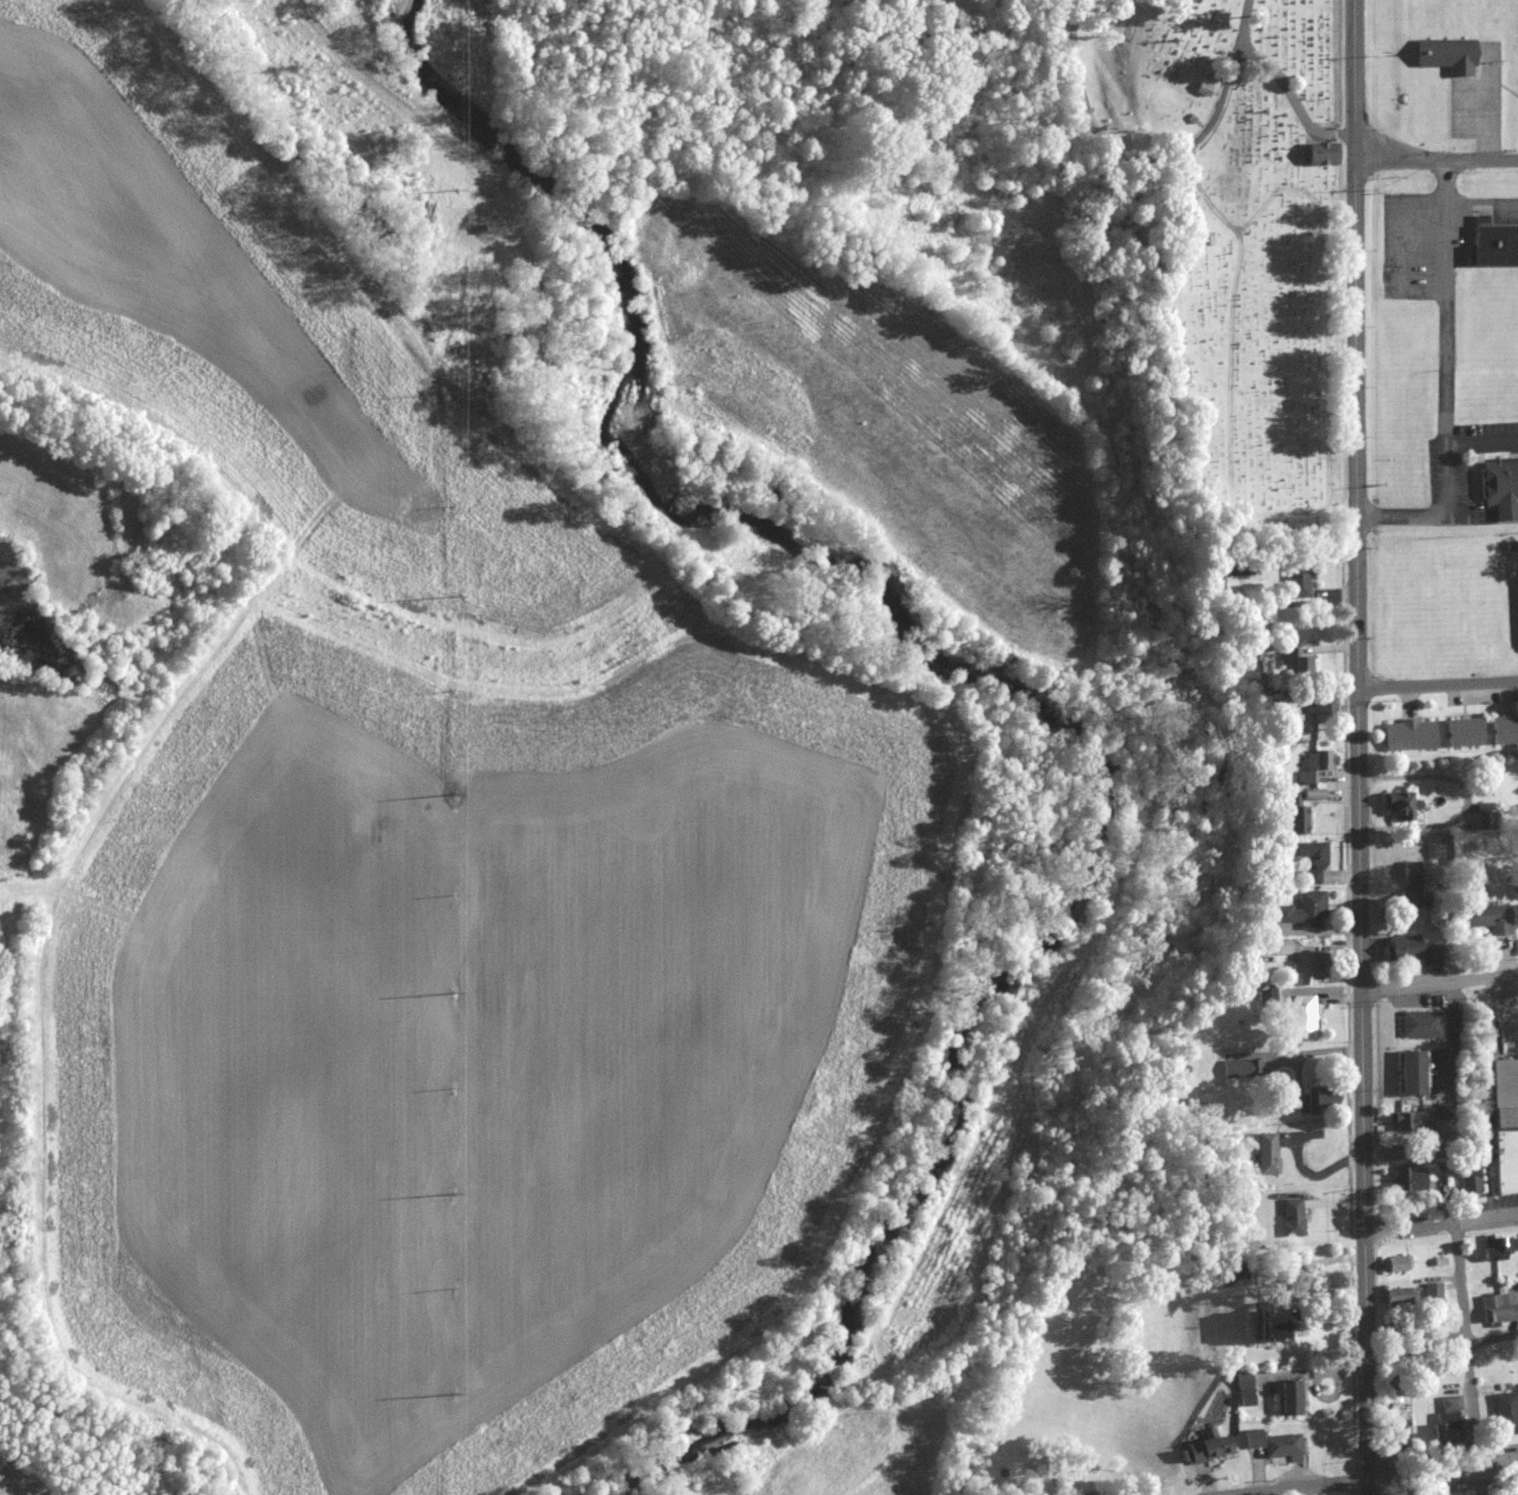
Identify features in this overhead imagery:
building: (1451, 54)
road: (348, 64)
road: (1354, 79)
road: (1080, 81)
road: (1294, 99)
road: (1216, 114)
building: (1318, 155)
road: (1436, 160)
road: (1483, 202)
road: (488, 215)
park: (1245, 236)
building: (1493, 244)
road: (540, 286)
road: (1449, 381)
road: (1484, 439)
building: (1500, 489)
road: (1293, 512)
building: (1297, 583)
road: (1438, 685)
building: (1319, 706)
building: (1504, 730)
building: (1464, 733)
building: (1409, 735)
building: (1314, 766)
building: (1398, 806)
building: (1300, 809)
building: (1485, 819)
road: (1358, 827)
building: (1308, 860)
building: (1413, 885)
building: (1303, 910)
building: (1485, 918)
building: (1277, 947)
building: (1410, 950)
building: (1303, 970)
road: (1438, 983)
building: (1301, 1018)
building: (1418, 1024)
building: (1241, 1068)
building: (1407, 1073)
building: (1318, 1099)
building: (1405, 1122)
building: (1503, 1126)
building: (1265, 1153)
building: (1411, 1180)
building: (1470, 1186)
building: (1291, 1218)
road: (1442, 1223)
building: (1496, 1248)
building: (1396, 1264)
building: (1233, 1272)
building: (1411, 1295)
building: (1497, 1309)
building: (1265, 1325)
road: (1441, 1341)
road: (1468, 1358)
building: (1243, 1387)
building: (1288, 1398)
building: (1451, 1404)
building: (1506, 1414)
building: (1392, 1428)
building: (1444, 1434)
building: (1251, 1439)
building: (1281, 1447)
building: (1204, 1448)
road: (1383, 1480)

